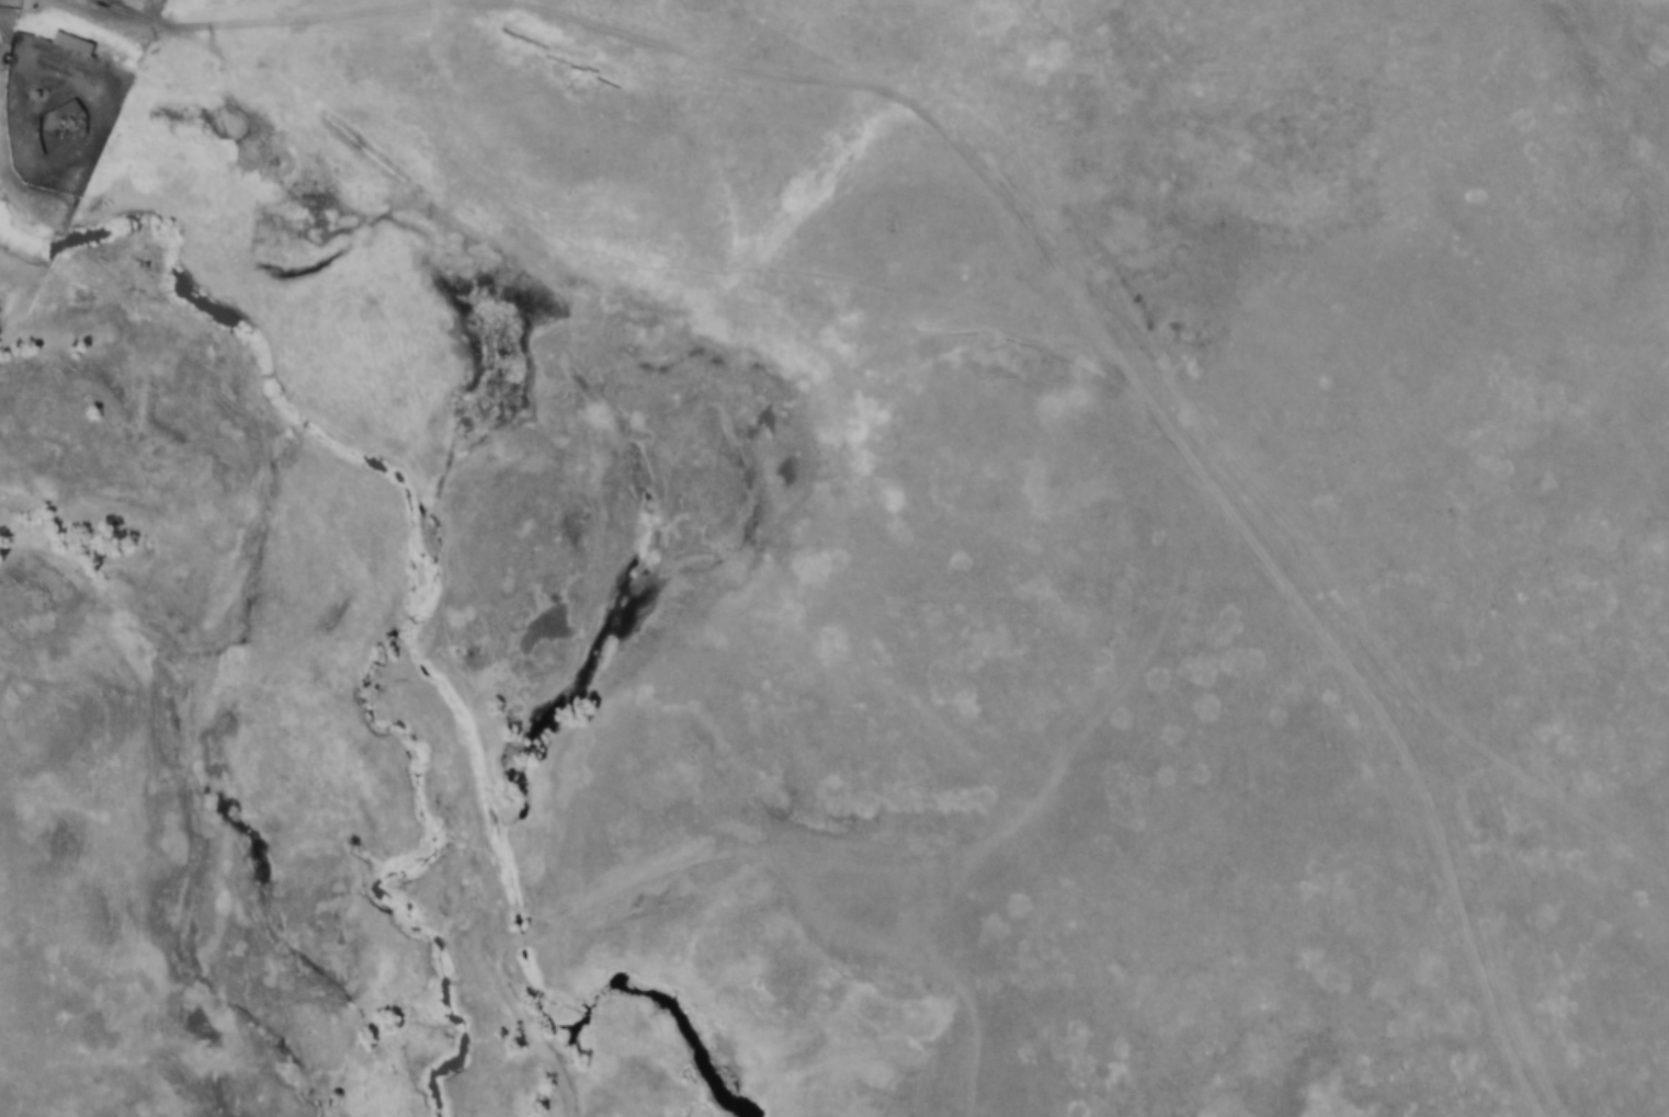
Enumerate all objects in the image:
road: (198, 16)
building: (29, 30)
road: (1151, 398)

